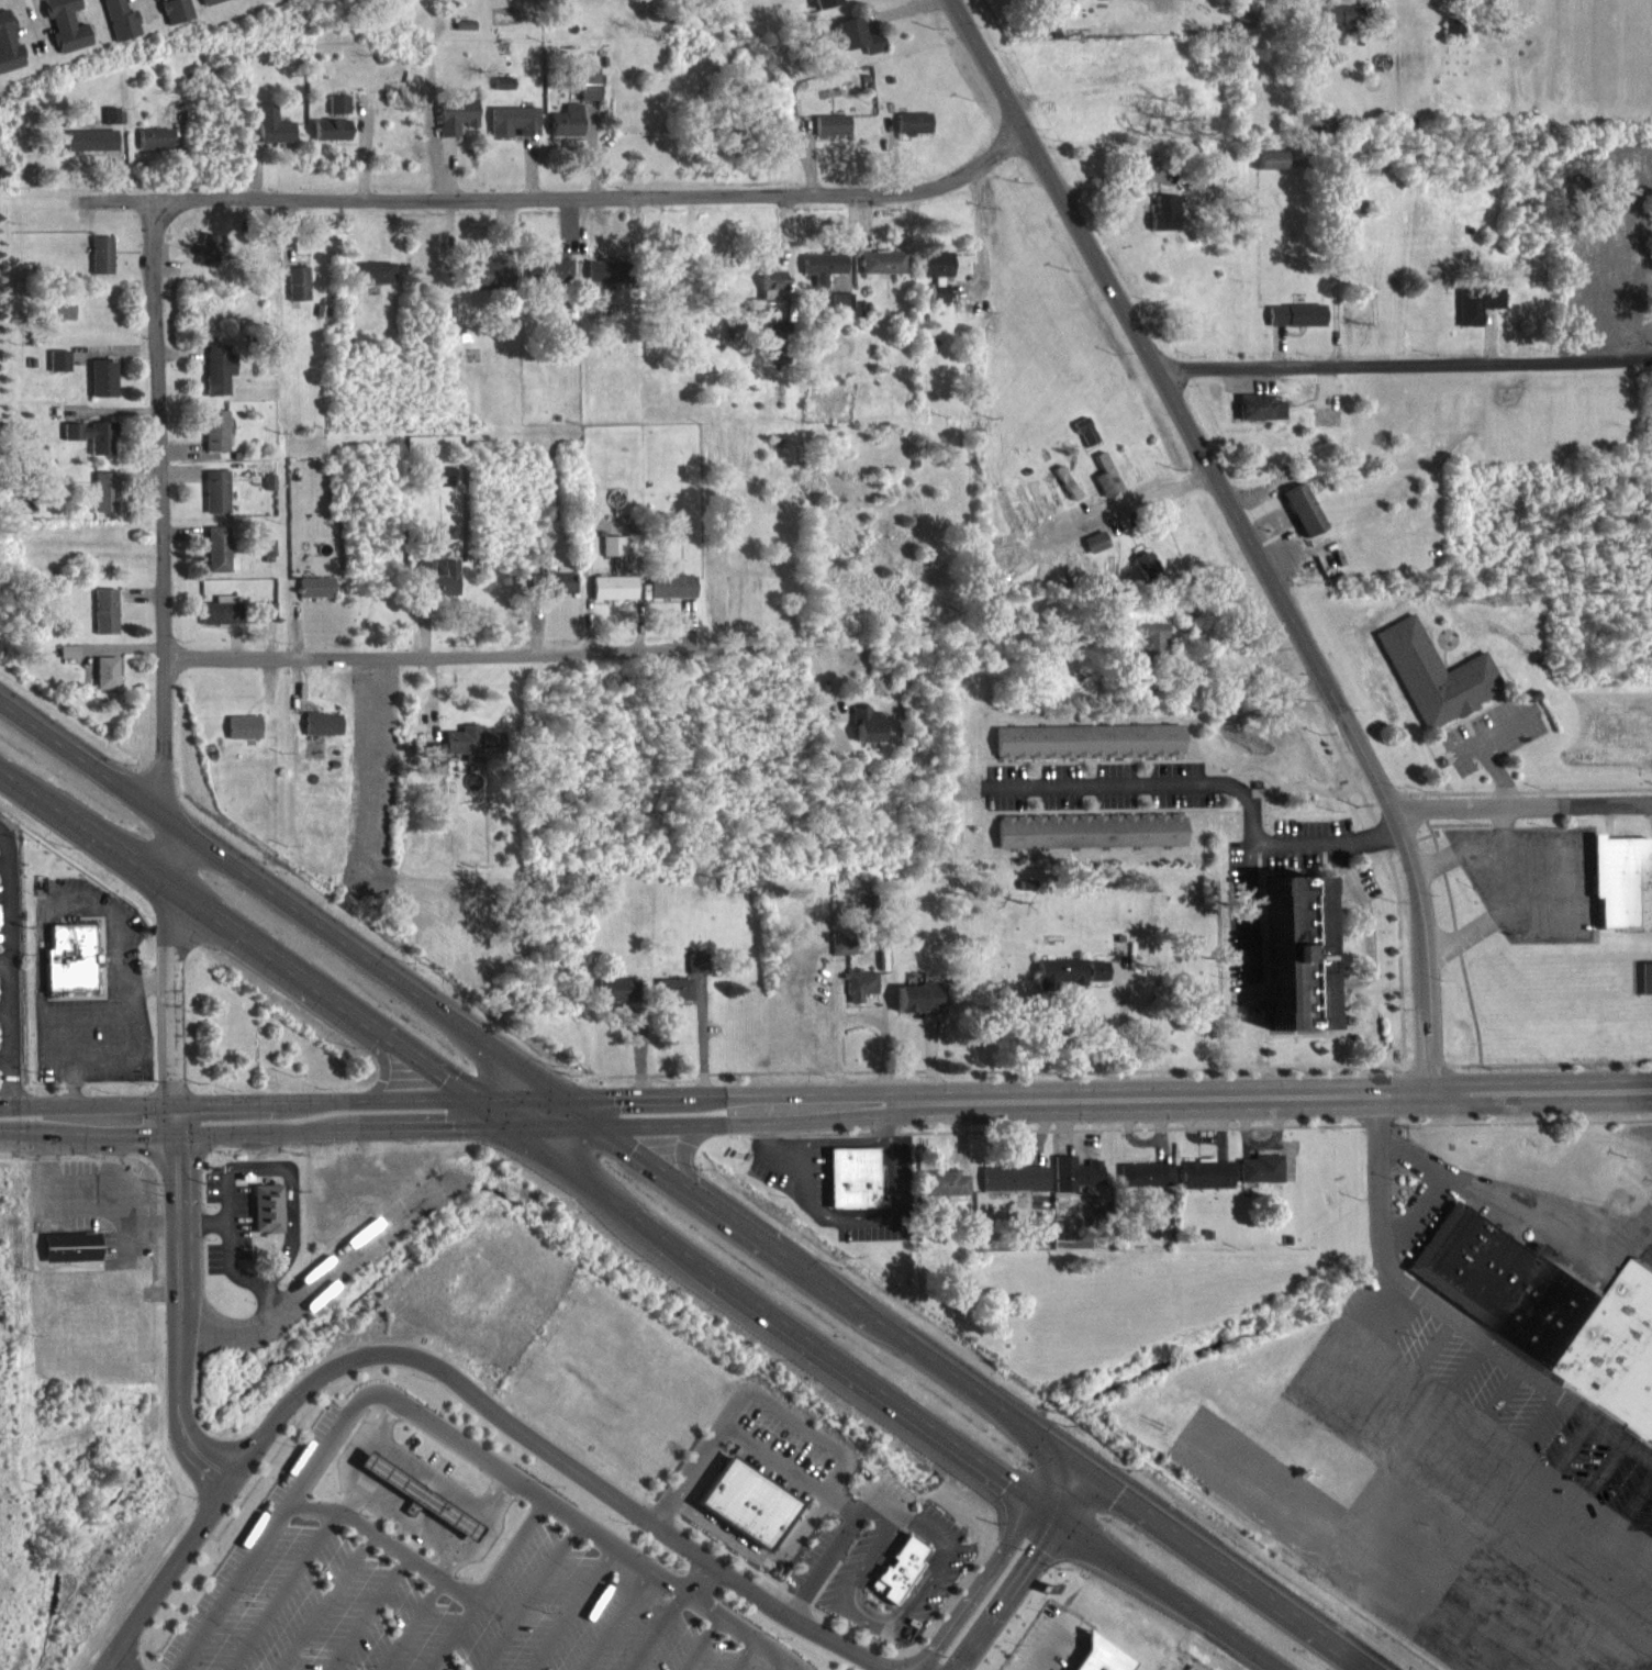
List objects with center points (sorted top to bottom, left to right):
building: (1064, 1)
building: (213, 5)
building: (823, 9)
building: (174, 18)
building: (116, 25)
building: (1342, 27)
building: (1242, 30)
building: (63, 32)
building: (1453, 38)
building: (856, 48)
building: (8, 56)
building: (587, 93)
building: (501, 94)
building: (336, 115)
building: (453, 123)
building: (170, 124)
building: (109, 126)
building: (512, 133)
building: (565, 133)
building: (912, 134)
building: (270, 136)
building: (829, 136)
building: (328, 141)
building: (153, 149)
building: (90, 151)
building: (1269, 170)
road: (595, 193)
road: (120, 199)
building: (1162, 224)
building: (206, 260)
building: (882, 274)
building: (823, 277)
building: (552, 281)
building: (602, 282)
building: (370, 285)
building: (937, 285)
building: (489, 286)
building: (297, 294)
building: (771, 294)
building: (841, 312)
building: (1474, 315)
building: (1294, 326)
building: (778, 345)
road: (1404, 360)
building: (216, 380)
building: (100, 389)
building: (1259, 419)
building: (214, 441)
building: (1084, 443)
building: (91, 446)
building: (443, 487)
building: (1105, 487)
building: (1065, 493)
building: (214, 502)
building: (103, 503)
road: (1132, 505)
building: (1302, 521)
road: (1247, 527)
building: (676, 533)
road: (163, 545)
building: (1095, 553)
building: (611, 557)
building: (217, 560)
building: (267, 561)
building: (1146, 576)
building: (437, 589)
building: (554, 595)
building: (314, 598)
building: (670, 598)
building: (612, 599)
building: (267, 621)
building: (104, 622)
building: (219, 622)
building: (1153, 652)
road: (488, 653)
building: (67, 663)
building: (104, 683)
building: (1435, 686)
building: (321, 735)
building: (864, 735)
building: (243, 738)
building: (1089, 753)
building: (471, 754)
building: (437, 769)
road: (1136, 795)
road: (1526, 808)
road: (1251, 839)
building: (1089, 842)
parking lot: (1528, 884)
building: (1616, 887)
road: (305, 910)
road: (232, 933)
building: (844, 957)
building: (69, 959)
road: (4, 965)
building: (1292, 965)
road: (8, 971)
building: (695, 975)
road: (1338, 977)
building: (1096, 982)
building: (1059, 983)
building: (859, 995)
road: (175, 998)
building: (616, 1000)
building: (672, 1000)
building: (915, 1009)
road: (3, 1057)
road: (380, 1064)
road: (1544, 1092)
road: (688, 1095)
traffic signals: (465, 1096)
road: (1172, 1096)
traffic signals: (572, 1100)
road: (232, 1102)
traffic signals: (176, 1103)
road: (176, 1118)
road: (762, 1122)
road: (393, 1123)
traffic signals: (506, 1124)
traffic signals: (612, 1127)
road: (88, 1134)
traffic signals: (177, 1134)
road: (685, 1149)
building: (1265, 1168)
building: (1210, 1173)
building: (1149, 1174)
building: (856, 1178)
building: (1073, 1184)
building: (1143, 1185)
building: (1012, 1190)
building: (944, 1194)
building: (267, 1209)
building: (1167, 1232)
building: (1212, 1234)
building: (1292, 1239)
road: (289, 1240)
building: (76, 1246)
road: (342, 1265)
road: (848, 1294)
road: (759, 1302)
road: (264, 1303)
building: (1548, 1309)
road: (1445, 1314)
road: (180, 1315)
road: (224, 1331)
road: (802, 1423)
road: (450, 1434)
road: (551, 1449)
road: (707, 1455)
road: (779, 1459)
traffic signals: (1085, 1463)
road: (844, 1474)
road: (433, 1476)
road: (1069, 1487)
road: (873, 1495)
building: (424, 1496)
gas station: (424, 1496)
road: (353, 1498)
building: (404, 1499)
building: (750, 1503)
traffic signals: (1053, 1510)
road: (411, 1518)
road: (222, 1528)
road: (390, 1544)
road: (778, 1558)
road: (871, 1558)
road: (942, 1559)
road: (831, 1560)
road: (450, 1566)
road: (1231, 1567)
road: (172, 1569)
building: (903, 1570)
road: (764, 1577)
road: (703, 1581)
road: (492, 1585)
road: (997, 1589)
road: (1167, 1590)
road: (289, 1591)
road: (534, 1596)
parking lot: (432, 1599)
road: (331, 1602)
road: (802, 1605)
road: (866, 1606)
road: (577, 1608)
road: (372, 1614)
road: (618, 1619)
road: (874, 1624)
road: (414, 1625)
road: (661, 1630)
road: (703, 1644)
road: (905, 1648)
road: (746, 1655)
building: (1106, 1656)
road: (112, 1666)
road: (121, 1666)
road: (788, 1666)

